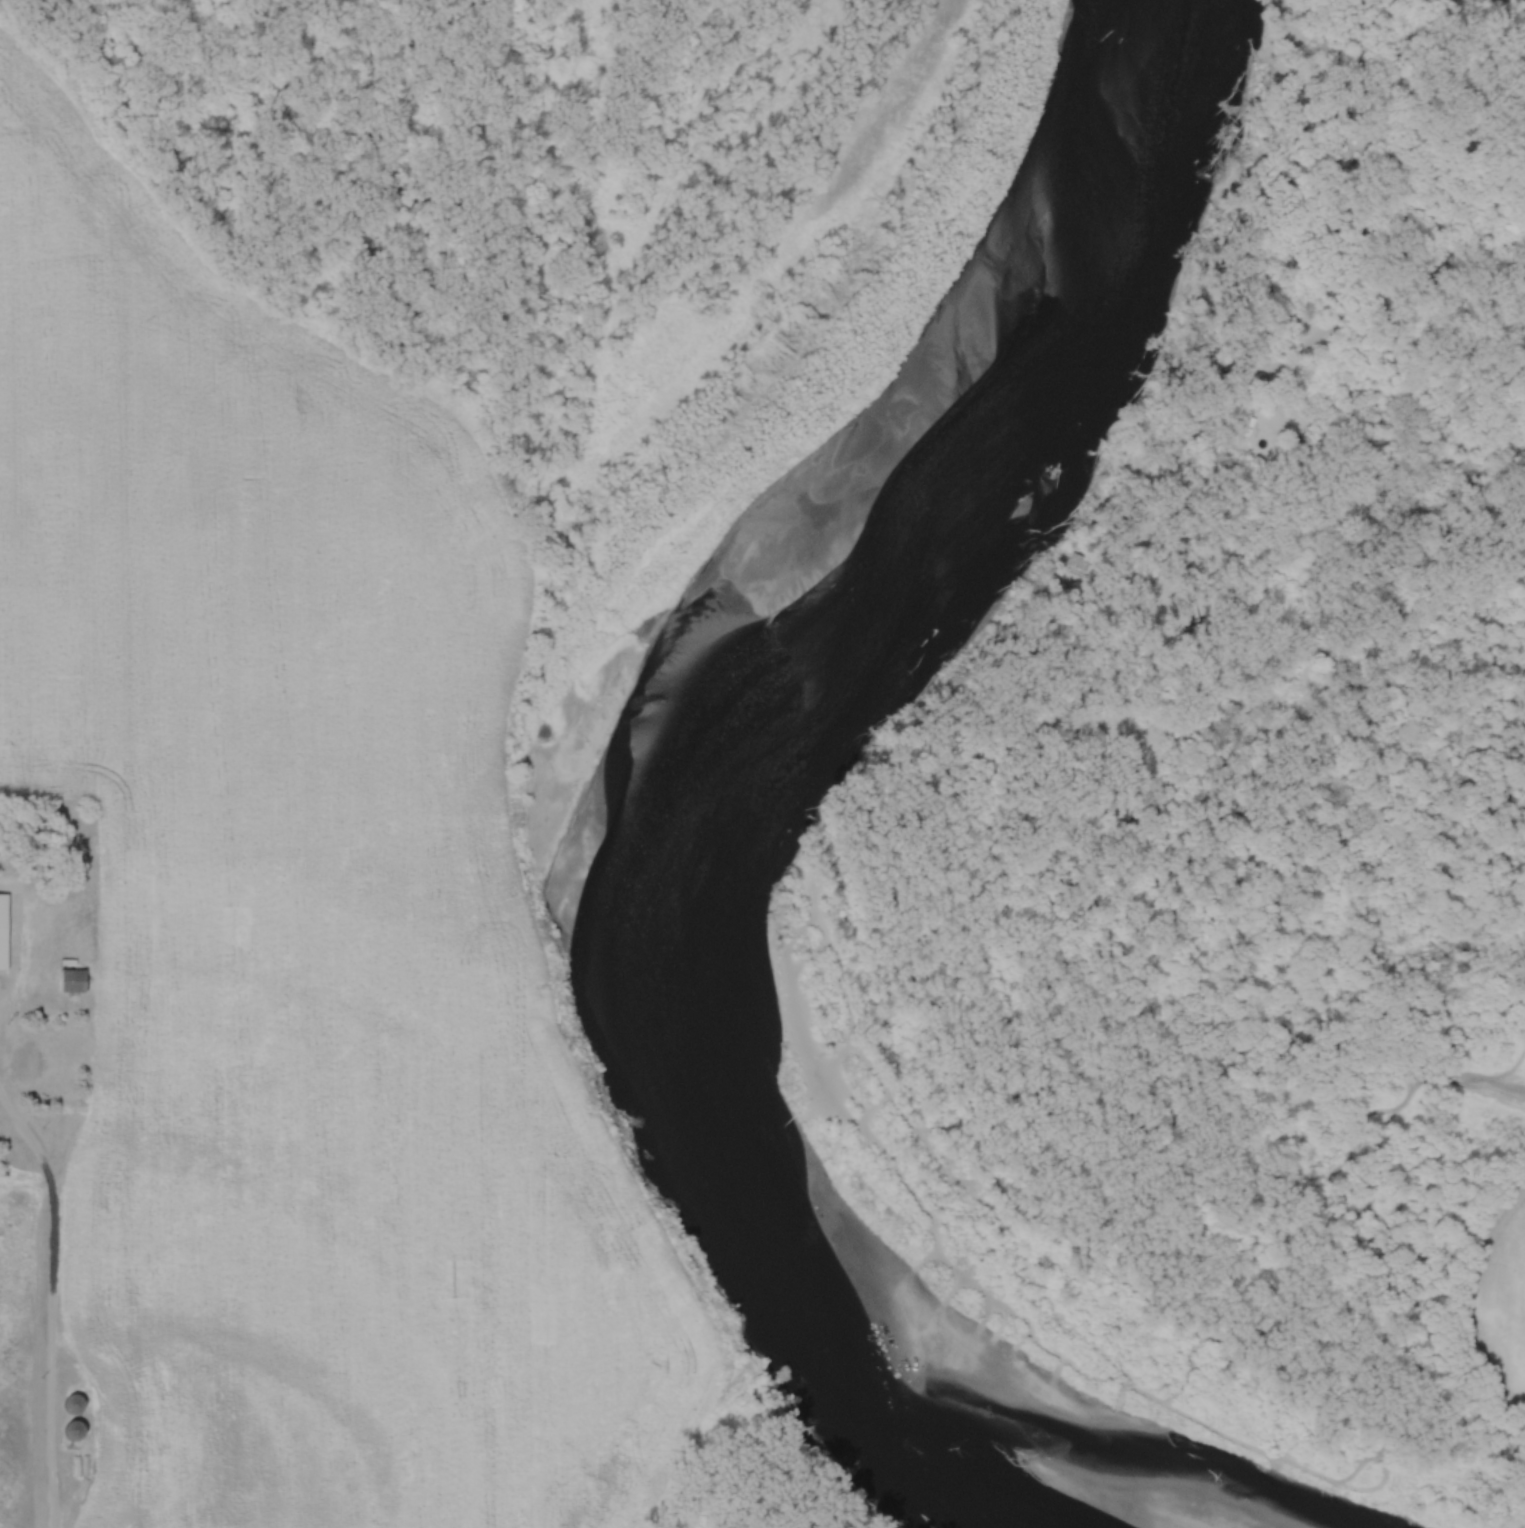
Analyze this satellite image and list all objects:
road: (1303, 112)
river: (660, 784)
building: (6, 947)
building: (73, 979)
road: (5, 1004)
building: (33, 1057)
road: (53, 1302)
building: (79, 1402)
building: (77, 1429)

